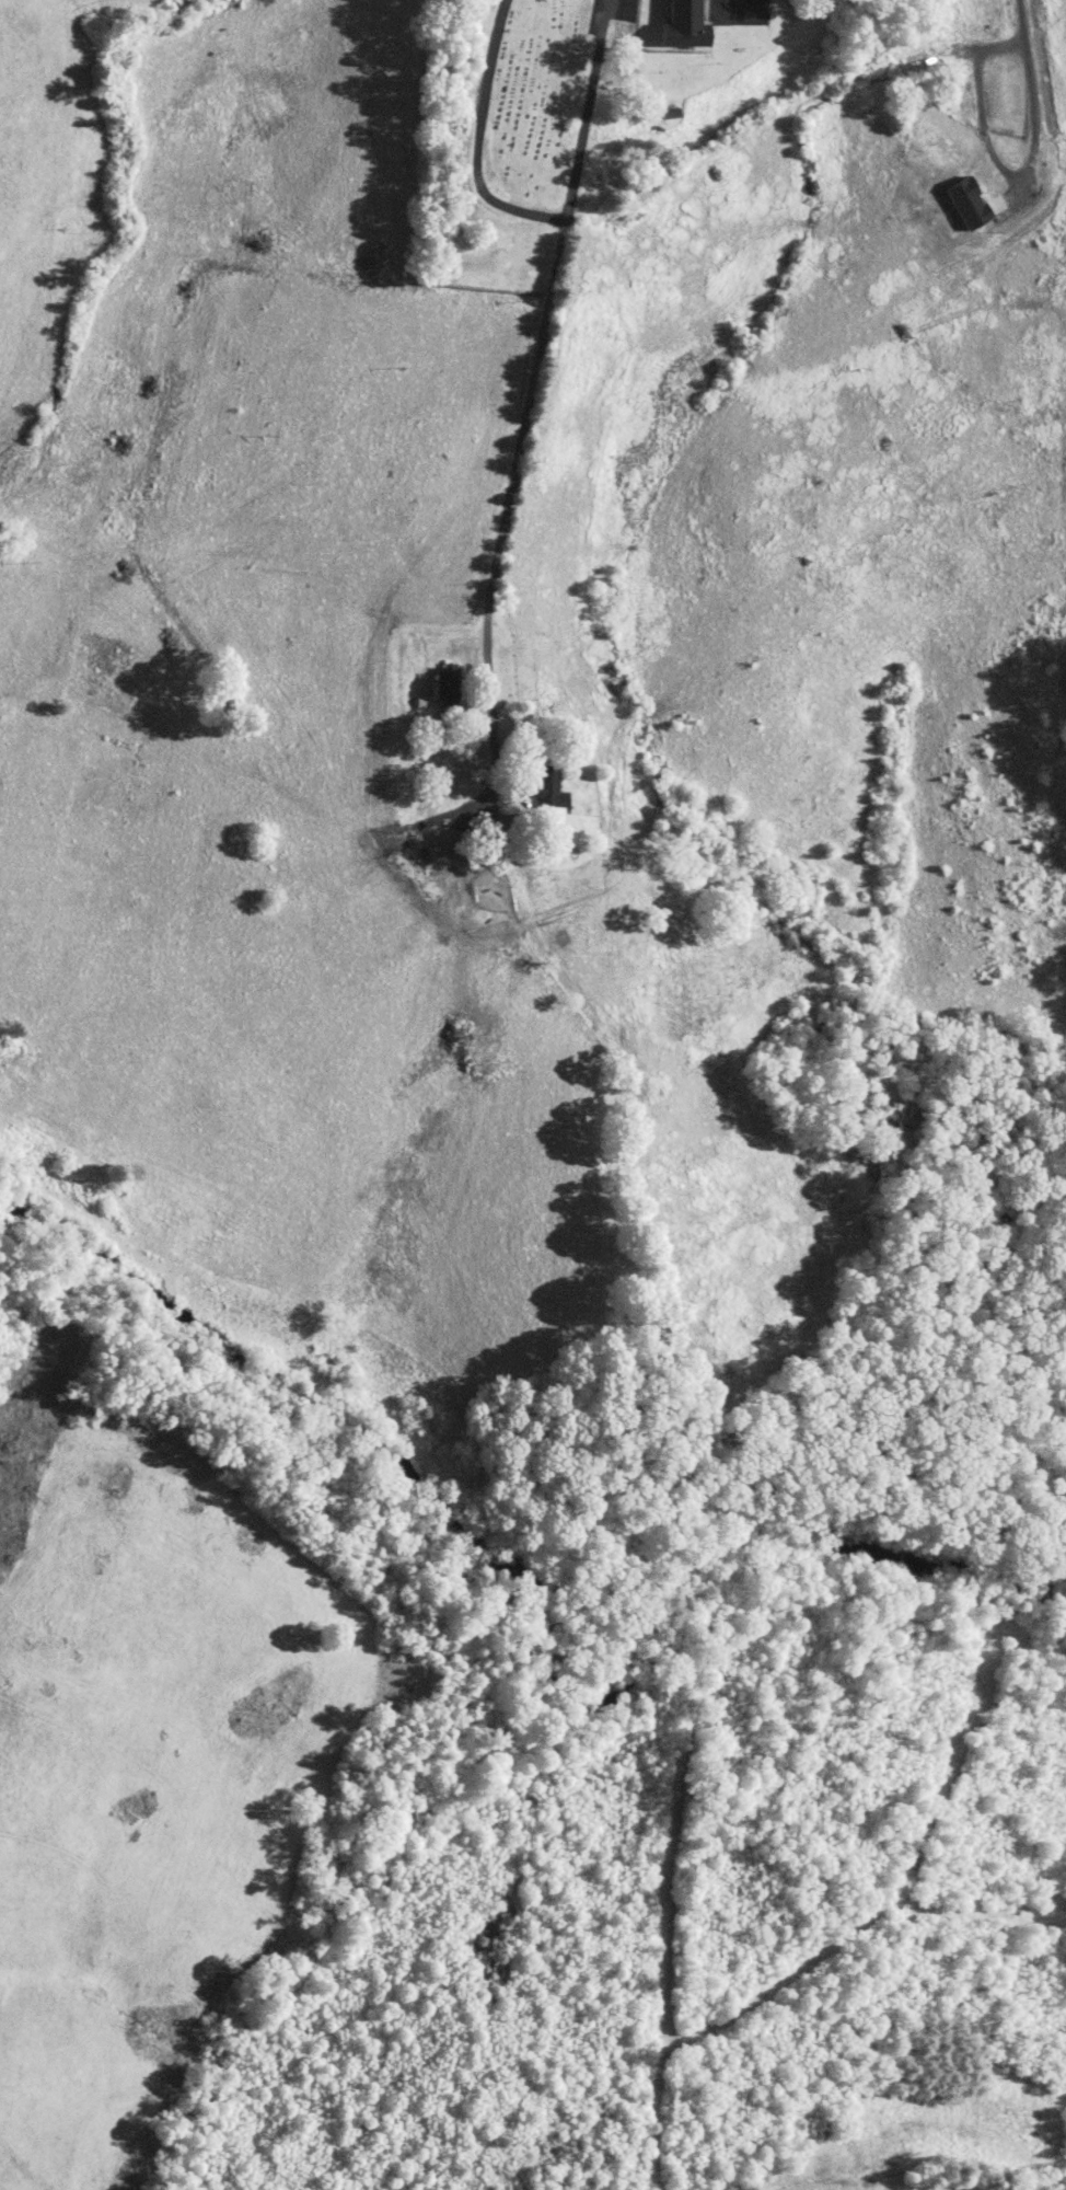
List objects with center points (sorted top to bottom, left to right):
road: (746, 5)
road: (1022, 20)
road: (998, 164)
building: (963, 203)
road: (534, 374)
building: (440, 684)
building: (545, 787)

